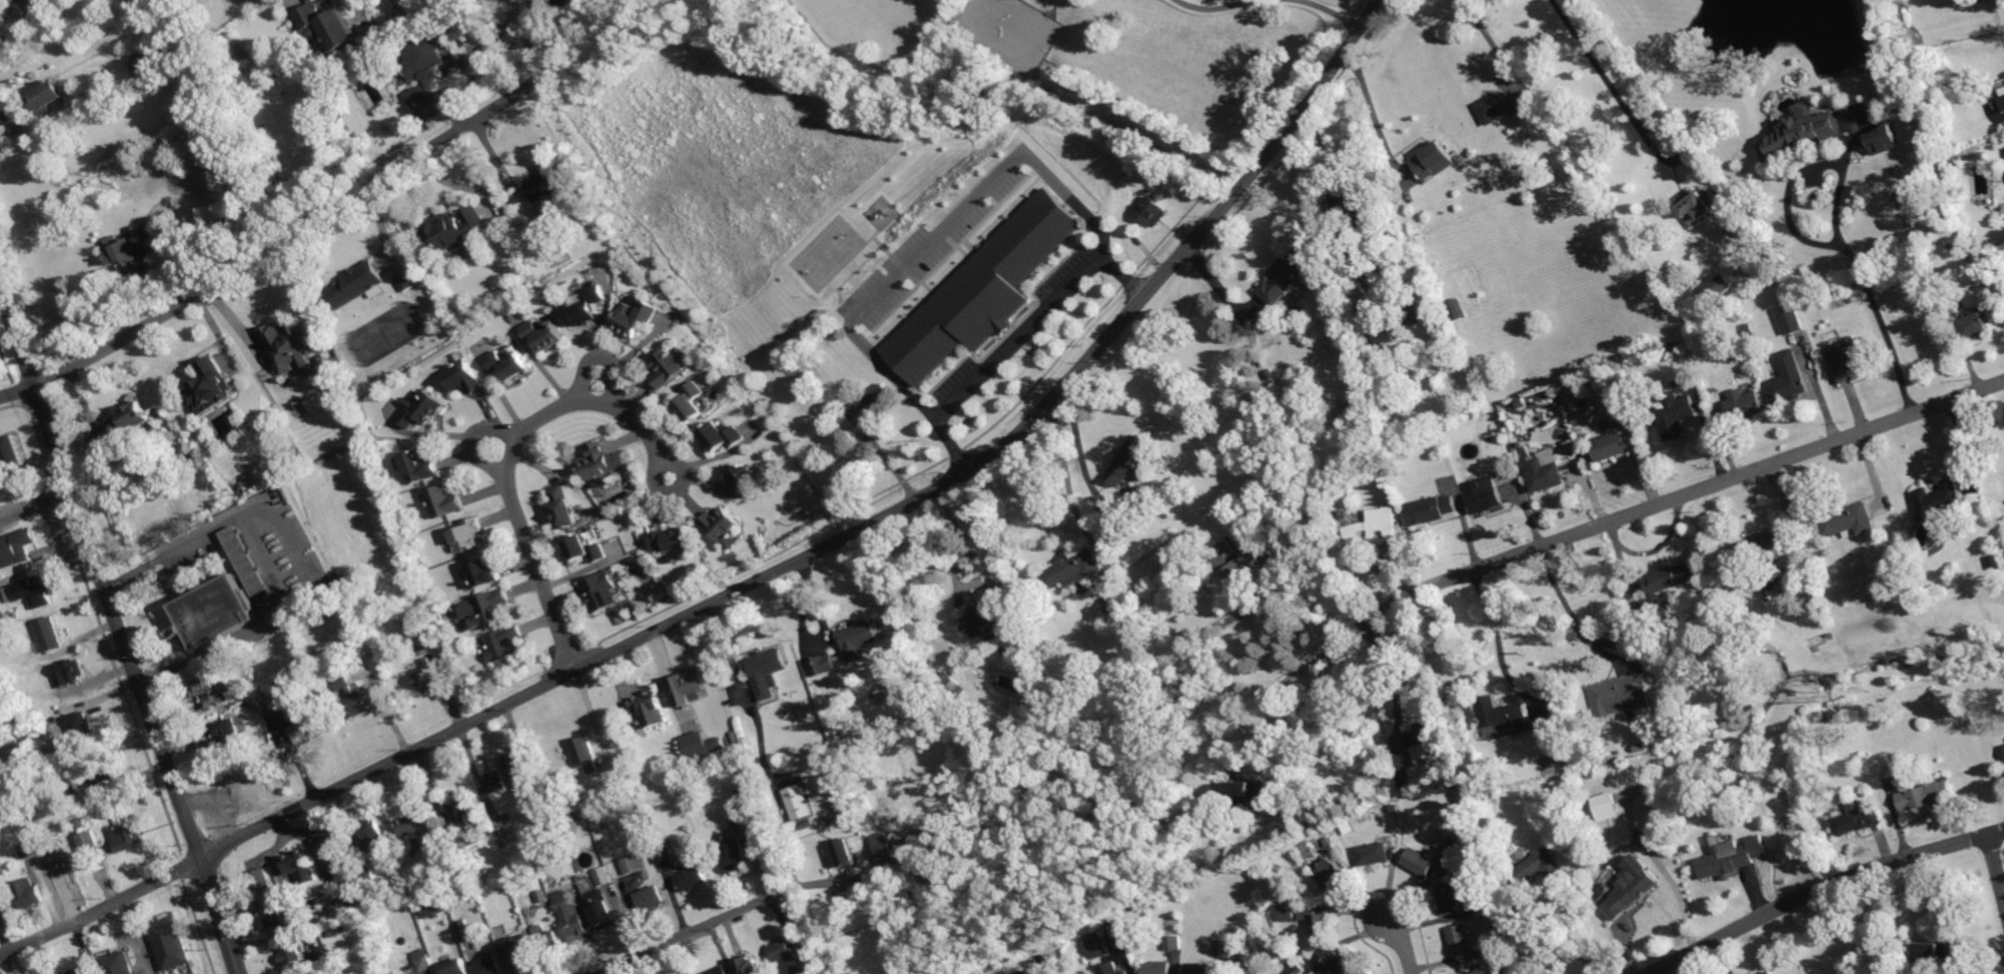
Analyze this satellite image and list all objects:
road: (1219, 8)
road: (1328, 10)
building: (331, 33)
road: (528, 36)
road: (1488, 39)
road: (461, 61)
road: (1594, 61)
building: (142, 64)
building: (426, 66)
building: (46, 96)
building: (2003, 98)
building: (1508, 106)
road: (1376, 117)
road: (460, 127)
building: (1803, 134)
building: (1889, 140)
building: (1947, 145)
building: (1433, 158)
road: (1676, 158)
building: (1142, 163)
building: (543, 187)
building: (1339, 203)
building: (1699, 204)
building: (1365, 206)
building: (1154, 211)
building: (1745, 224)
building: (455, 228)
road: (1800, 232)
building: (1390, 234)
road: (936, 237)
building: (131, 246)
building: (1765, 251)
building: (1482, 252)
building: (203, 256)
building: (1287, 276)
building: (1676, 280)
building: (406, 281)
building: (358, 284)
building: (1719, 287)
building: (986, 291)
building: (585, 308)
building: (1459, 308)
building: (1411, 312)
building: (635, 318)
building: (1790, 318)
road: (143, 321)
building: (1976, 324)
building: (1384, 329)
building: (544, 334)
road: (1016, 336)
building: (1676, 344)
building: (288, 345)
road: (603, 355)
building: (1852, 356)
building: (509, 364)
building: (667, 368)
building: (464, 374)
building: (1272, 374)
building: (1790, 378)
building: (210, 385)
road: (18, 393)
building: (1391, 393)
building: (1366, 400)
building: (871, 401)
building: (692, 403)
building: (1520, 403)
building: (849, 404)
building: (1746, 404)
building: (1351, 407)
building: (421, 408)
building: (1676, 414)
building: (131, 420)
road: (471, 436)
building: (723, 436)
building: (1617, 444)
building: (12, 454)
building: (1132, 458)
road: (510, 460)
building: (598, 462)
road: (1088, 462)
building: (419, 467)
building: (1547, 473)
building: (742, 480)
building: (1487, 494)
building: (1940, 496)
road: (1676, 498)
building: (445, 501)
building: (1339, 503)
building: (563, 507)
building: (1434, 508)
building: (1850, 519)
building: (721, 524)
building: (1377, 525)
road: (868, 526)
building: (468, 534)
building: (672, 540)
building: (16, 548)
building: (1758, 548)
building: (585, 550)
building: (246, 561)
road: (977, 562)
building: (1240, 564)
road: (269, 565)
building: (1073, 569)
building: (1749, 570)
building: (485, 573)
building: (1673, 579)
building: (1008, 586)
building: (33, 590)
building: (600, 592)
building: (493, 605)
road: (1564, 607)
building: (215, 612)
building: (987, 614)
building: (6, 619)
road: (121, 629)
building: (413, 629)
building: (50, 634)
building: (860, 634)
road: (1490, 634)
building: (1830, 635)
building: (1004, 641)
building: (505, 643)
building: (1831, 649)
building: (912, 650)
building: (824, 664)
building: (68, 672)
building: (768, 672)
building: (428, 675)
road: (1394, 677)
road: (1282, 683)
building: (951, 684)
building: (690, 685)
building: (1751, 690)
building: (207, 692)
building: (1624, 692)
building: (351, 696)
road: (744, 696)
building: (40, 701)
building: (277, 703)
building: (252, 704)
building: (651, 708)
building: (1507, 713)
building: (304, 723)
building: (79, 730)
building: (1428, 731)
building: (223, 737)
building: (1668, 739)
building: (703, 745)
building: (586, 754)
building: (518, 769)
building: (102, 777)
building: (72, 778)
building: (620, 780)
building: (495, 782)
building: (741, 790)
building: (1928, 794)
building: (1243, 795)
building: (1703, 795)
building: (1299, 796)
building: (799, 802)
building: (1607, 807)
building: (99, 813)
building: (1858, 818)
building: (462, 819)
building: (572, 821)
building: (652, 822)
building: (411, 825)
building: (745, 825)
building: (807, 825)
building: (374, 835)
building: (504, 835)
building: (611, 836)
building: (42, 837)
building: (127, 838)
building: (1644, 839)
building: (88, 840)
building: (1458, 846)
building: (329, 847)
building: (884, 848)
building: (28, 849)
building: (664, 850)
building: (1308, 850)
building: (842, 852)
building: (1375, 852)
building: (1729, 856)
road: (1997, 860)
building: (736, 861)
building: (1421, 861)
building: (634, 863)
building: (1541, 865)
building: (297, 867)
building: (367, 873)
building: (1334, 874)
building: (602, 877)
building: (693, 879)
building: (464, 887)
building: (1633, 887)
road: (1821, 889)
building: (1602, 890)
building: (262, 891)
building: (27, 893)
road: (1682, 895)
building: (1451, 897)
building: (649, 898)
building: (345, 904)
building: (1485, 904)
building: (436, 907)
road: (102, 909)
building: (602, 909)
building: (1288, 914)
building: (569, 916)
building: (413, 921)
building: (1318, 921)
building: (284, 922)
building: (464, 931)
building: (335, 932)
road: (684, 935)
road: (1550, 936)
building: (1461, 938)
building: (548, 941)
building: (1174, 942)
building: (171, 943)
road: (1405, 944)
building: (1100, 945)
building: (1226, 947)
building: (1937, 951)
building: (291, 954)
building: (518, 954)
building: (790, 957)
building: (423, 962)
building: (117, 964)
building: (1339, 964)
building: (490, 966)
building: (749, 966)
building: (457, 967)
building: (1159, 967)
building: (1114, 968)
building: (1201, 968)
building: (1490, 969)
building: (77, 971)
building: (720, 971)
building: (1009, 972)
building: (1769, 972)
building: (1241, 973)

